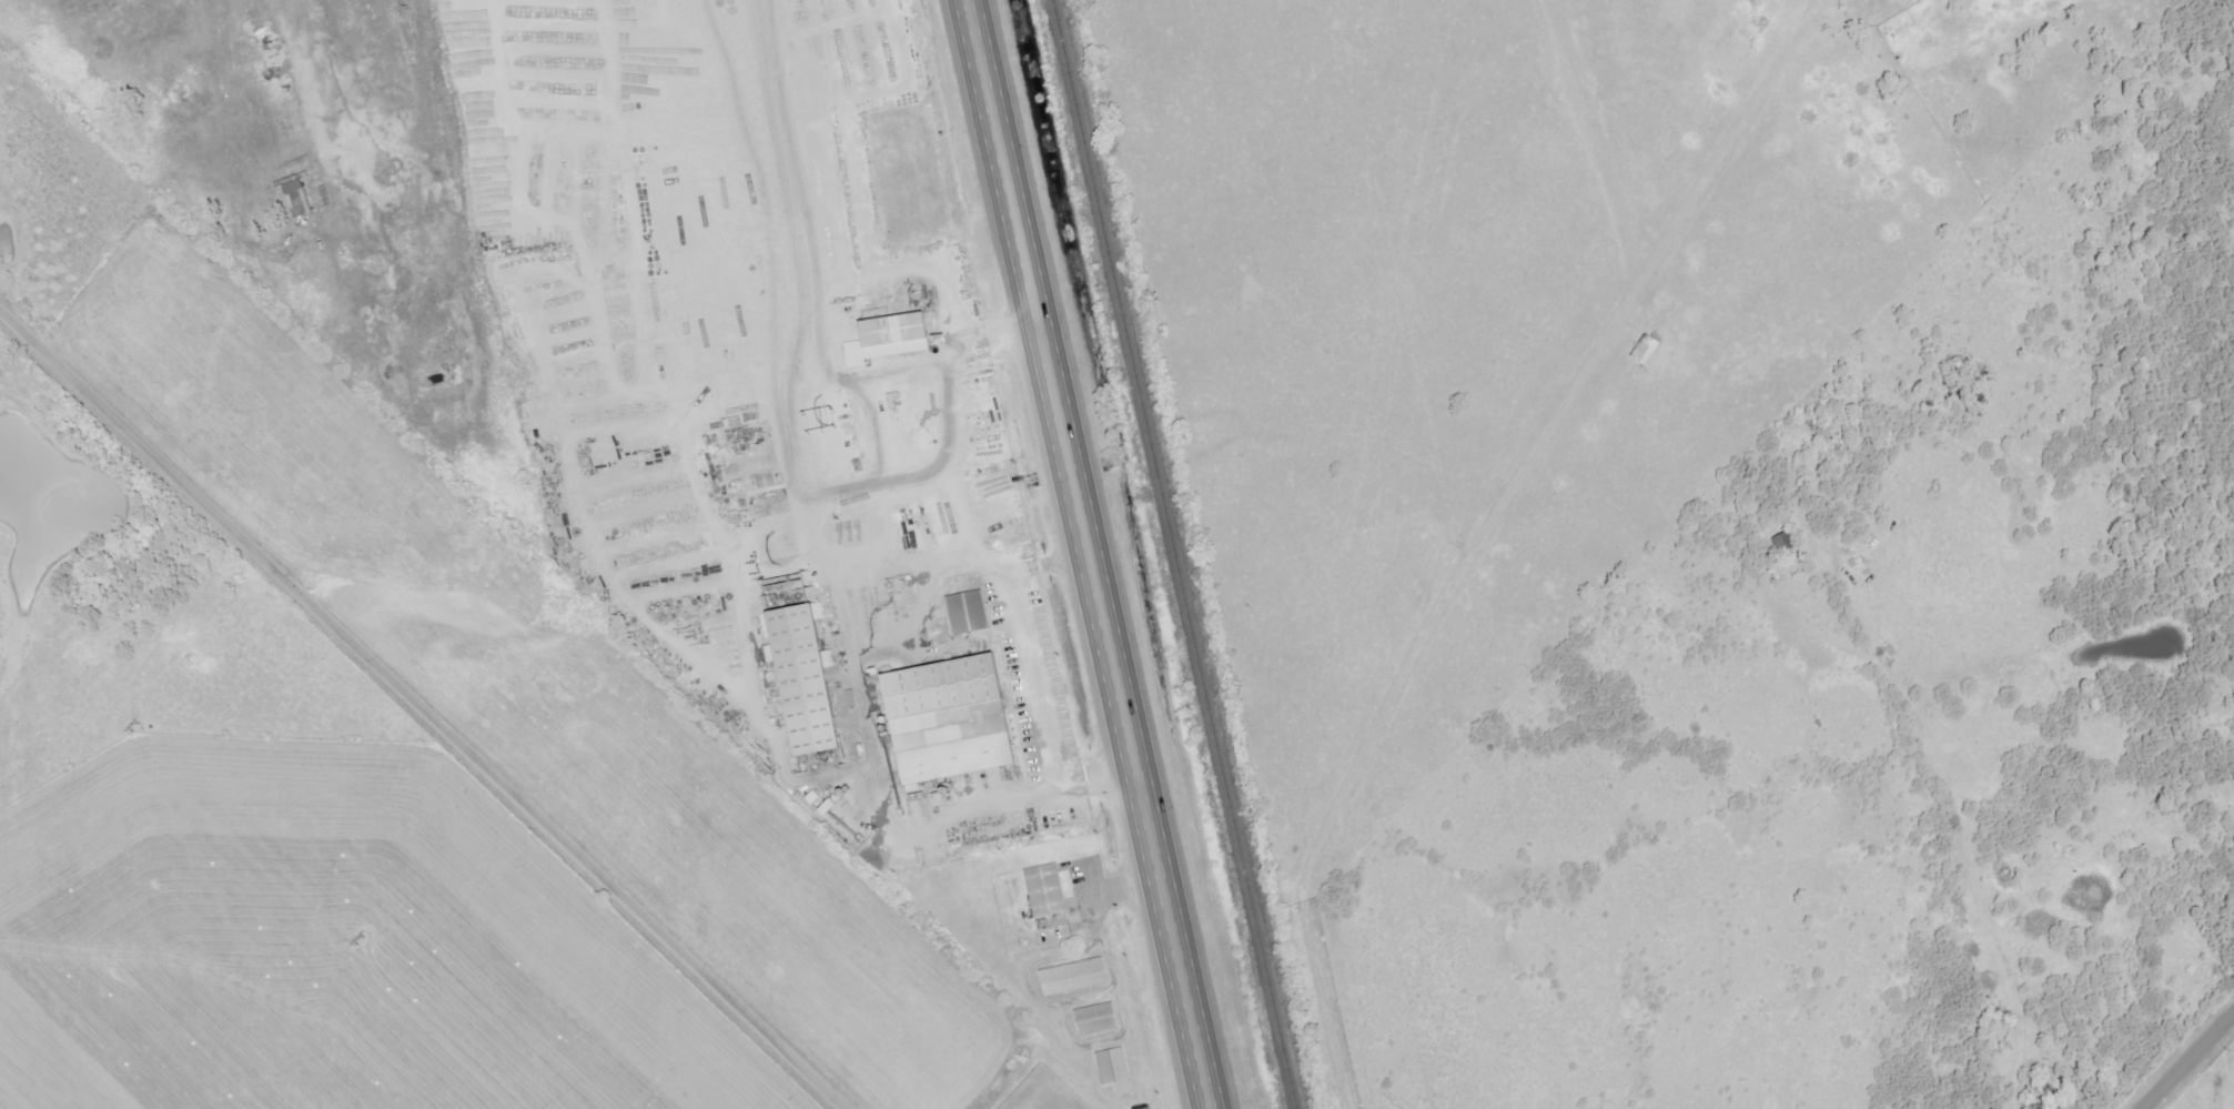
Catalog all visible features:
building: (300, 195)
building: (897, 333)
building: (1649, 349)
building: (1787, 542)
road: (1082, 554)
railway: (1173, 554)
road: (987, 562)
road: (1049, 569)
building: (968, 611)
road: (1422, 677)
building: (806, 678)
road: (423, 700)
building: (951, 718)
power tower: (124, 724)
road: (1962, 806)
building: (1048, 890)
power tower: (356, 937)
building: (1073, 975)
building: (1096, 1017)
road: (2188, 1062)
building: (1115, 1068)

